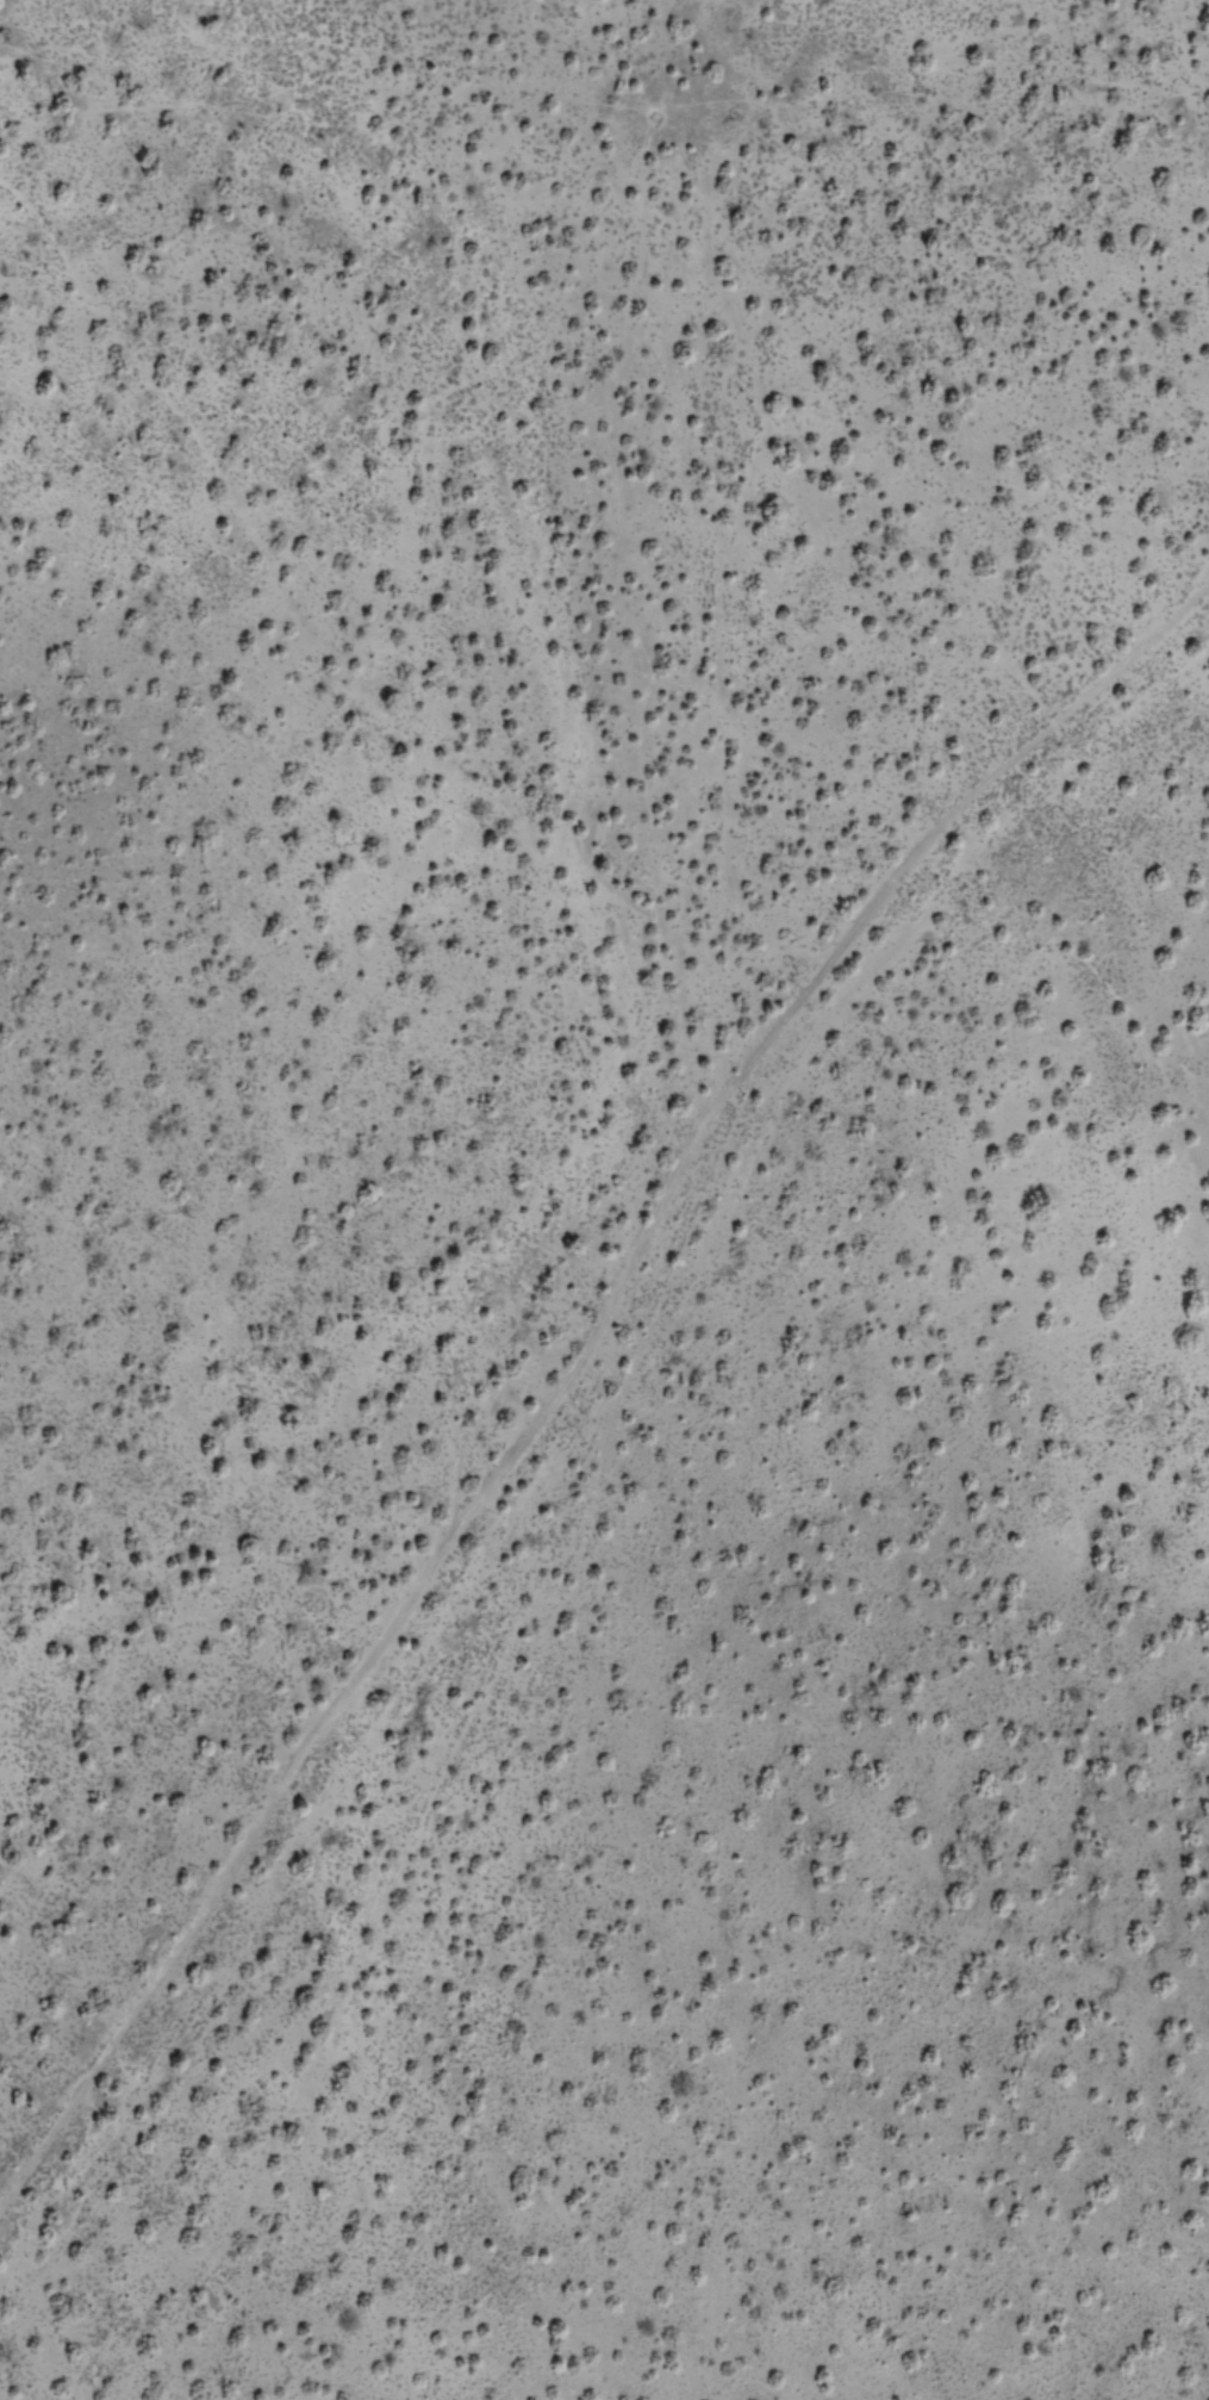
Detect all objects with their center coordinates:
road: (547, 1443)

